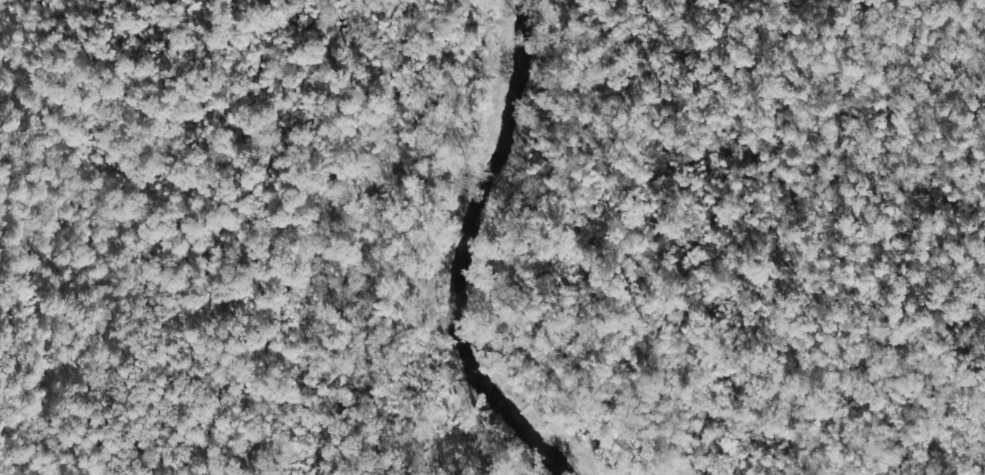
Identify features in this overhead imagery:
park: (661, 237)
river: (441, 266)

